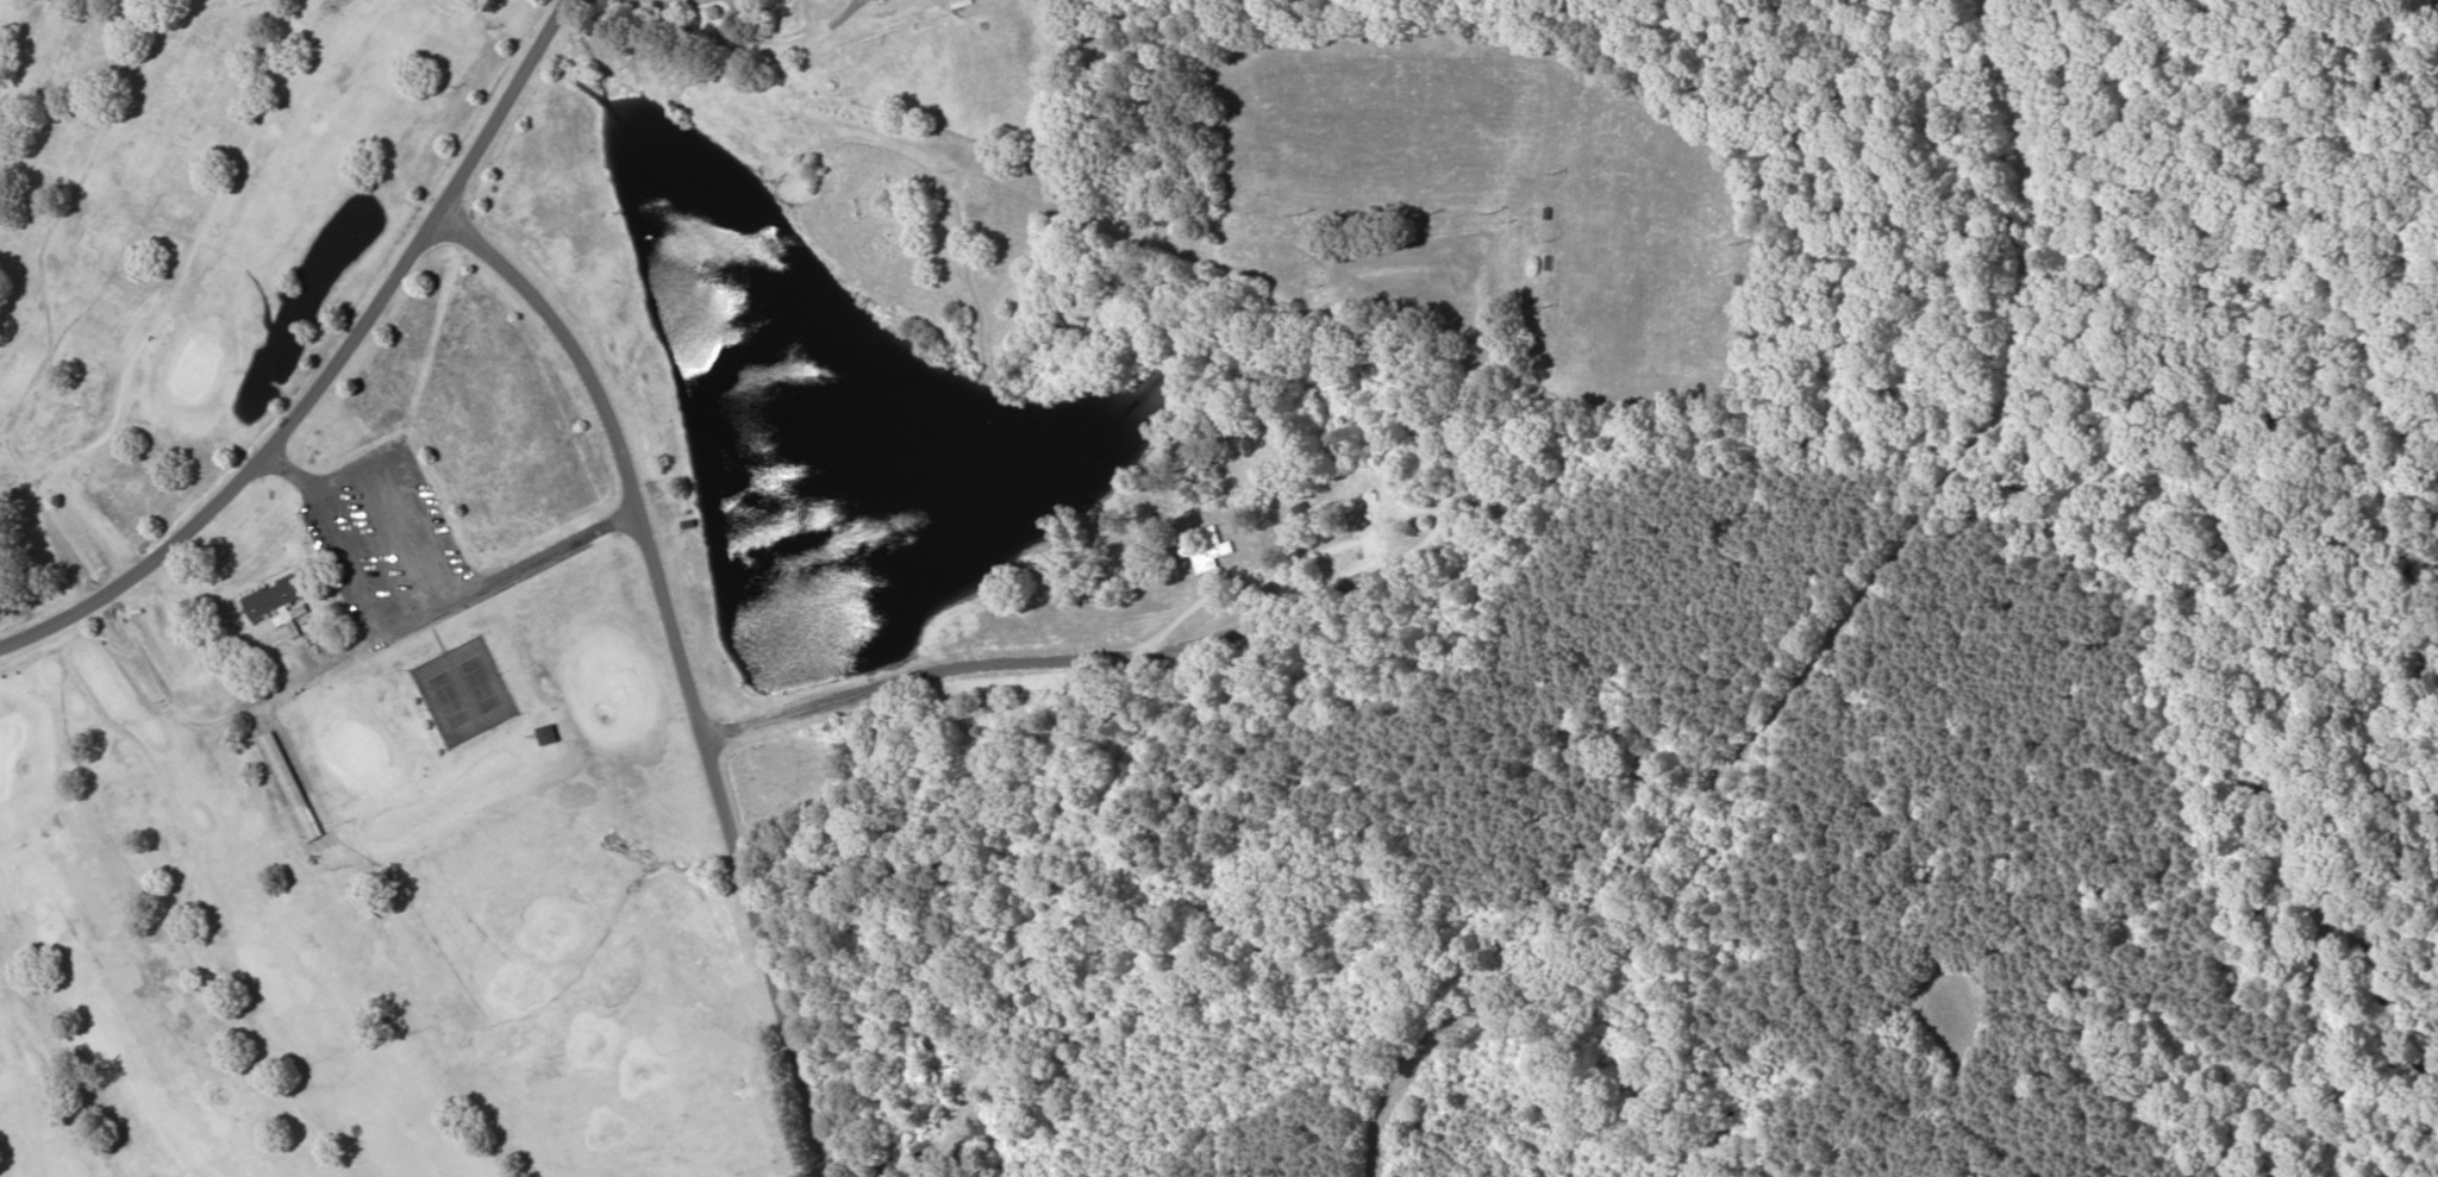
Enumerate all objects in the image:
building: (964, 2)
road: (326, 361)
building: (1207, 547)
building: (277, 597)
park: (315, 649)
road: (683, 662)
building: (551, 733)
building: (294, 785)

